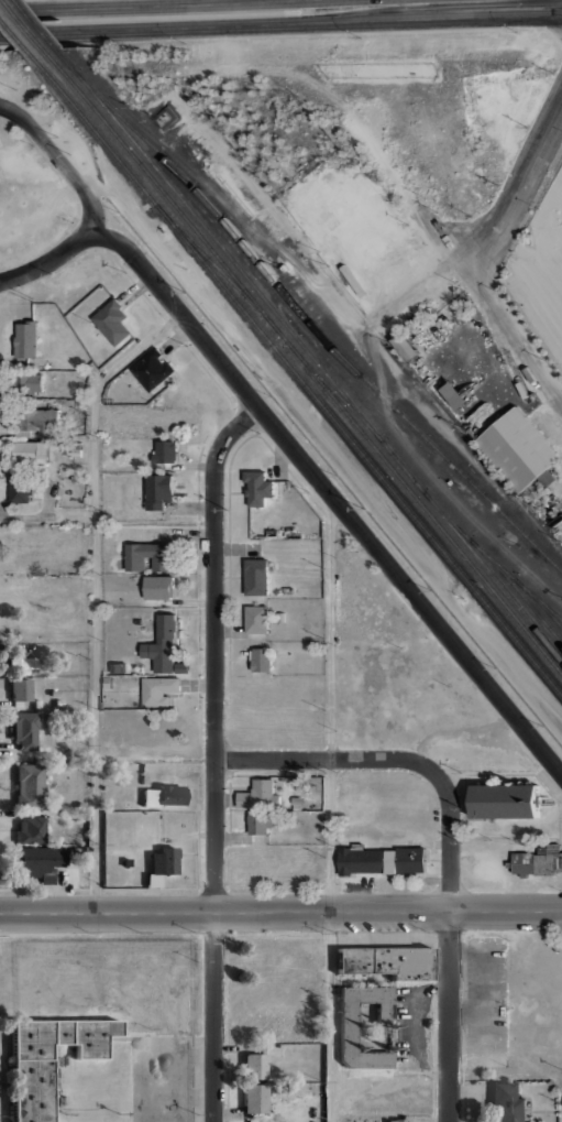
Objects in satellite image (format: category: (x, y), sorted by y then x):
road: (152, 6)
railway: (22, 23)
railway: (35, 23)
road: (280, 24)
railway: (13, 32)
road: (58, 161)
road: (48, 261)
road: (455, 264)
railway: (218, 271)
building: (112, 322)
road: (514, 333)
railway: (323, 334)
building: (26, 340)
building: (405, 347)
railway: (302, 350)
railway: (301, 361)
road: (549, 367)
building: (151, 370)
railway: (293, 373)
building: (74, 374)
building: (32, 382)
railway: (329, 388)
building: (520, 389)
building: (451, 393)
railway: (445, 415)
building: (37, 422)
building: (71, 449)
building: (518, 449)
building: (165, 453)
building: (30, 455)
building: (81, 480)
building: (19, 488)
building: (258, 488)
building: (158, 490)
road: (331, 495)
road: (471, 513)
building: (146, 556)
building: (257, 577)
building: (157, 588)
building: (286, 590)
railway: (503, 591)
railway: (528, 592)
road: (97, 595)
railway: (551, 616)
building: (280, 617)
building: (256, 620)
building: (162, 645)
building: (21, 661)
building: (261, 661)
building: (117, 668)
building: (181, 668)
building: (107, 683)
building: (21, 688)
building: (158, 690)
building: (54, 693)
building: (57, 702)
building: (16, 704)
building: (36, 704)
building: (25, 730)
road: (211, 755)
road: (324, 759)
building: (296, 783)
building: (30, 786)
building: (170, 795)
building: (258, 795)
building: (147, 798)
building: (296, 800)
building: (504, 800)
building: (79, 806)
road: (327, 809)
building: (263, 826)
building: (31, 829)
building: (85, 850)
building: (70, 852)
building: (164, 858)
building: (381, 860)
building: (41, 861)
building: (126, 862)
building: (536, 863)
building: (73, 878)
building: (152, 881)
road: (280, 912)
road: (450, 945)
building: (388, 960)
parking lot: (484, 1001)
parking lot: (411, 1024)
building: (346, 1036)
building: (48, 1059)
building: (254, 1066)
building: (255, 1098)
building: (540, 1101)
building: (505, 1103)
building: (427, 1118)
building: (394, 1121)

